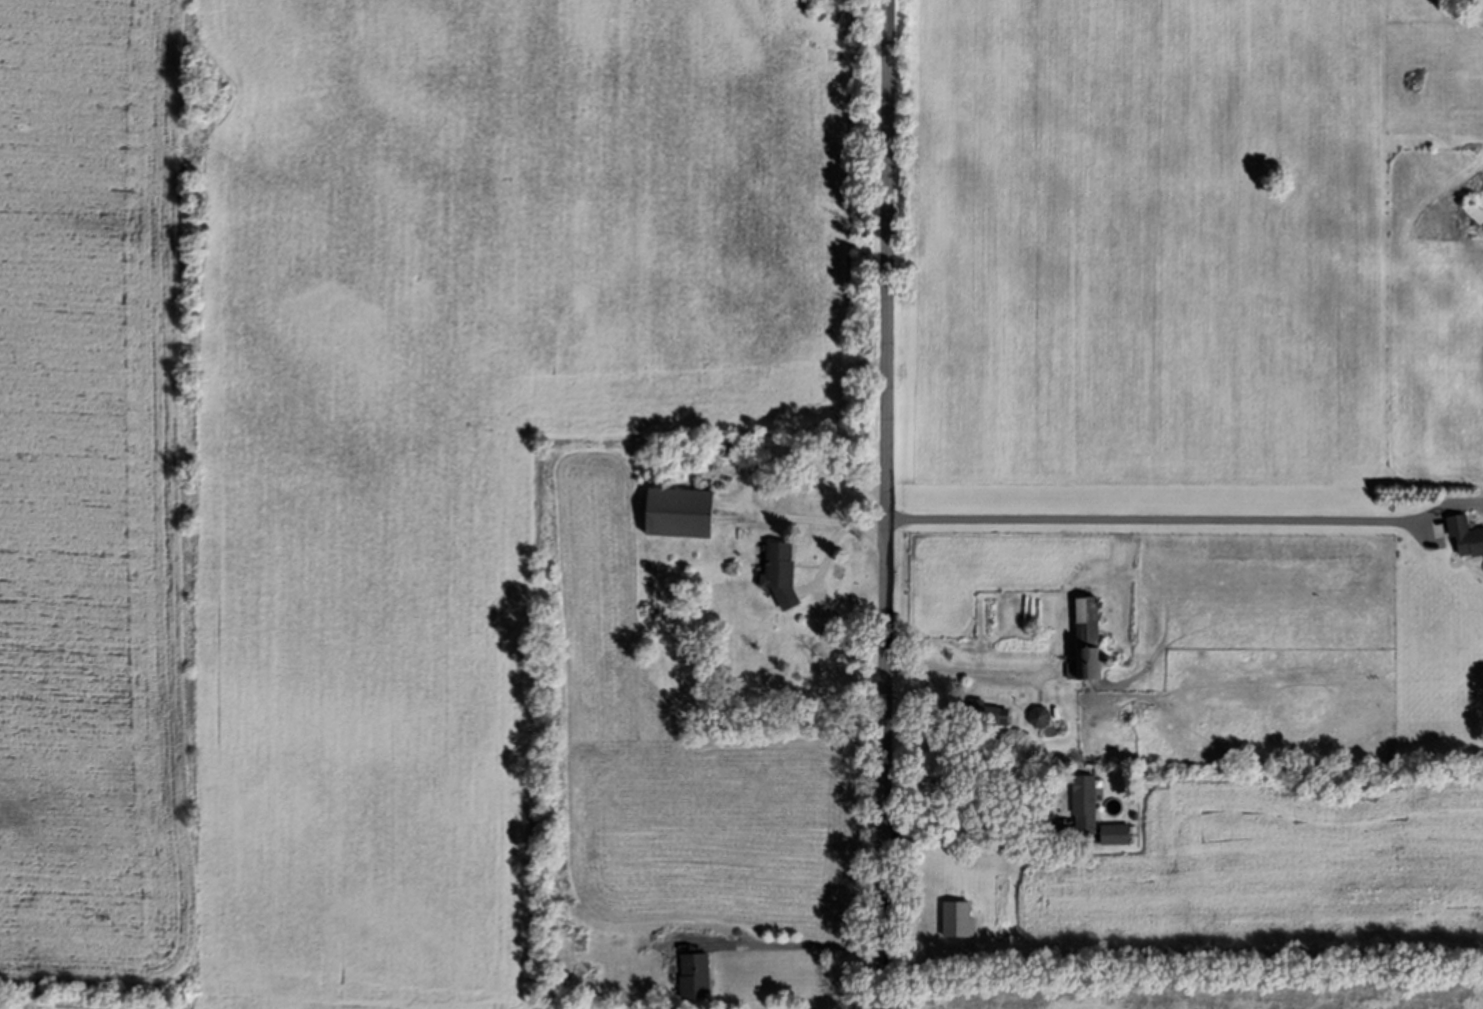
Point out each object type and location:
building: (1475, 212)
crop: (361, 440)
road: (885, 504)
building: (686, 512)
road: (1153, 516)
building: (1468, 534)
road: (838, 538)
building: (786, 570)
building: (1093, 638)
road: (966, 672)
building: (999, 716)
building: (1089, 808)
building: (1121, 833)
road: (975, 840)
road: (801, 946)
building: (697, 976)

